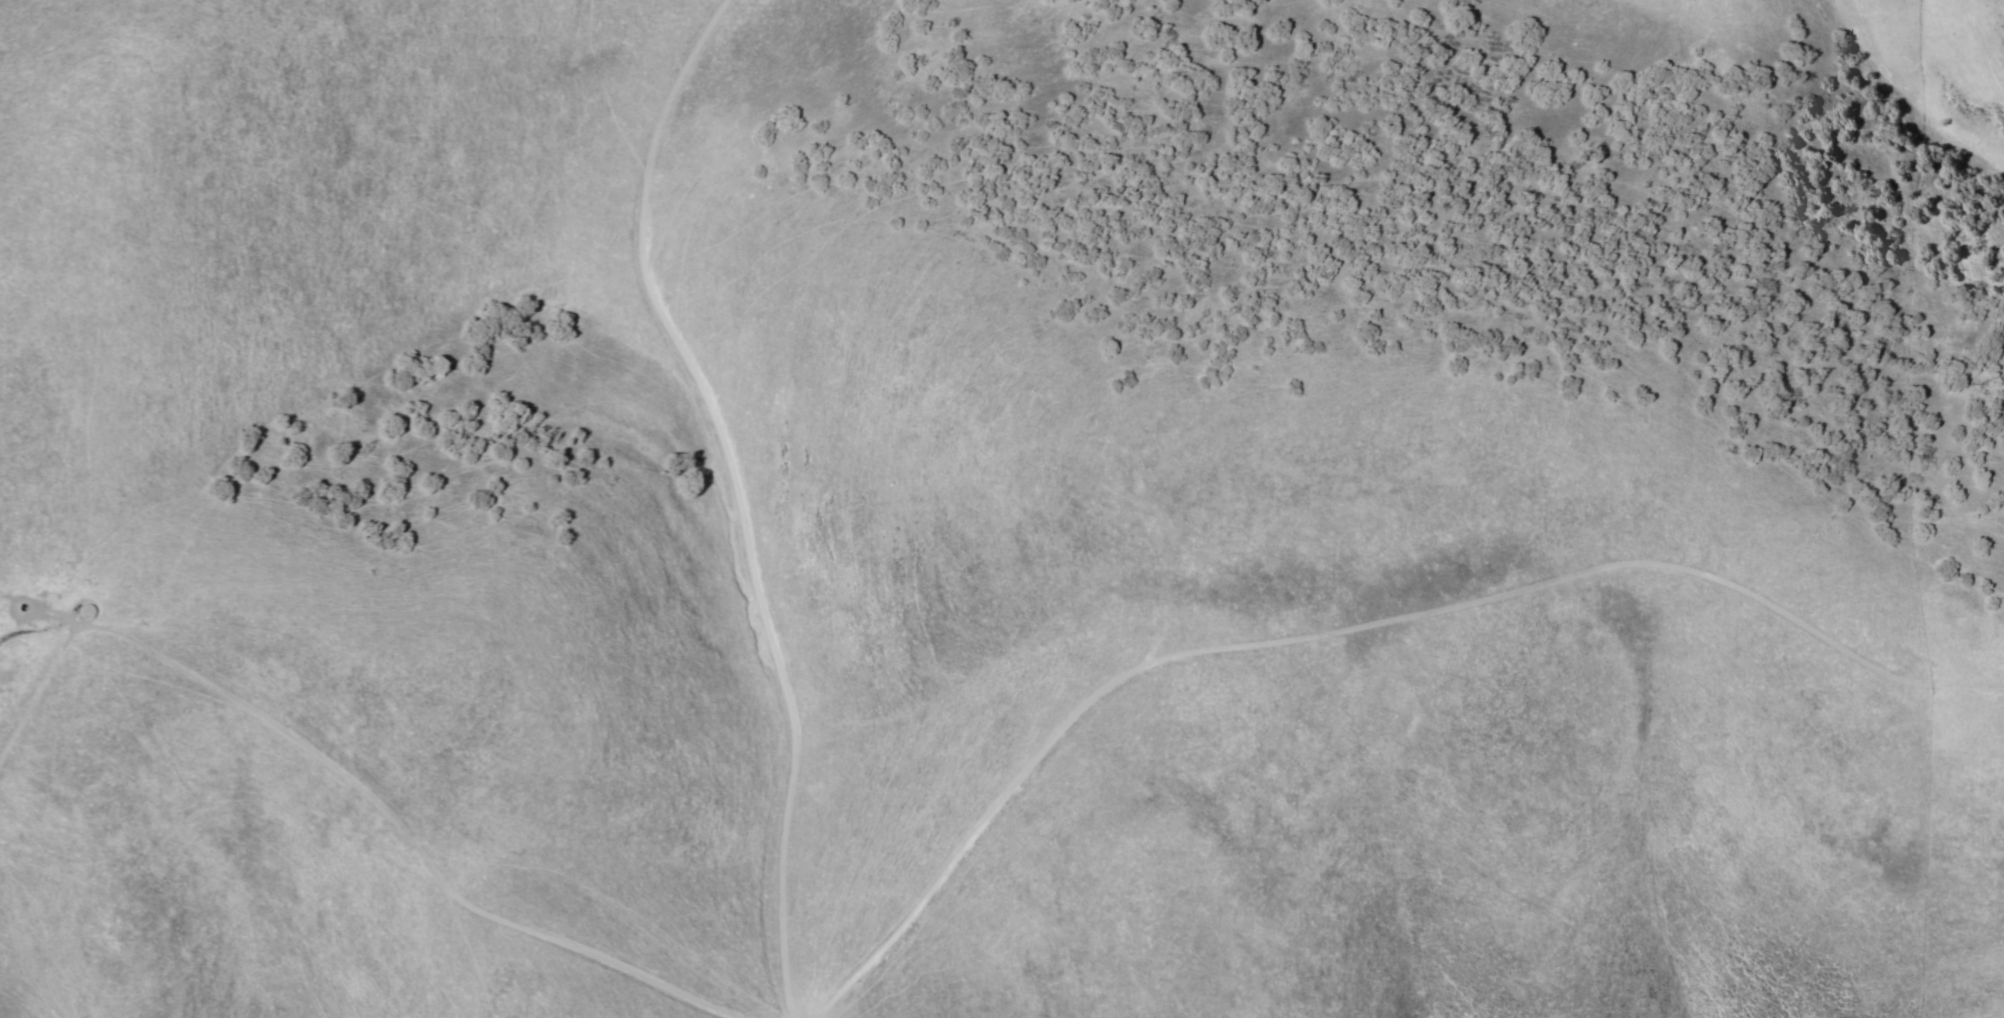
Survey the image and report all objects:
road: (717, 499)
building: (85, 612)
storage tank: (85, 612)
road: (1331, 676)
road: (352, 854)

